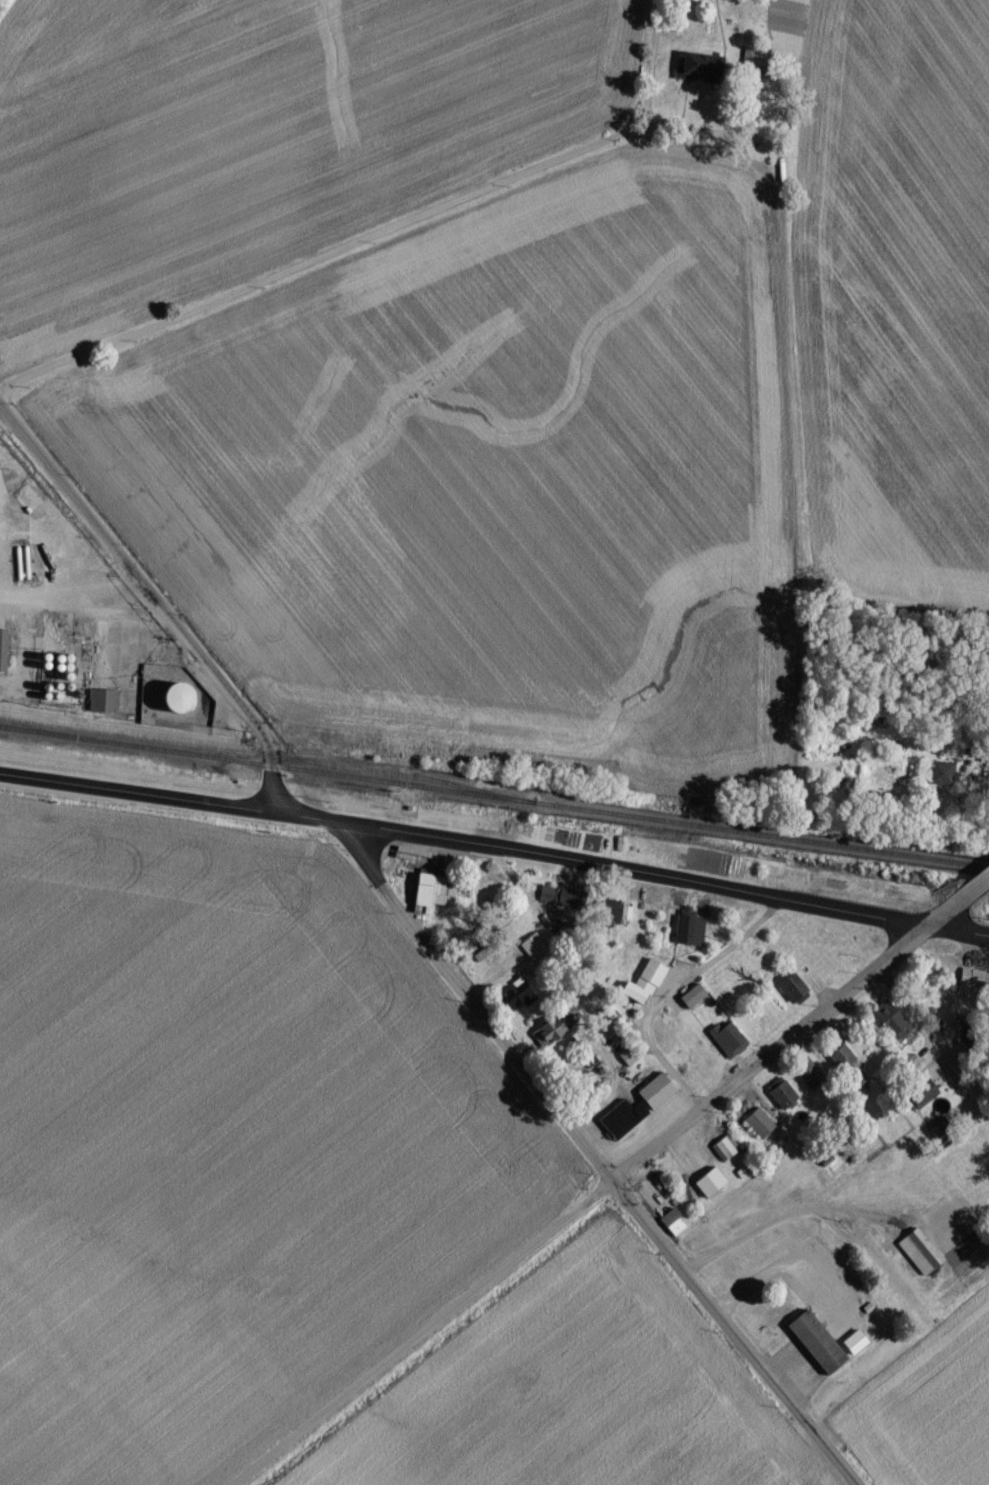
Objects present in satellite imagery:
road: (652, 68)
road: (740, 145)
building: (30, 504)
road: (68, 595)
road: (155, 610)
building: (4, 656)
railway: (494, 803)
road: (495, 854)
road: (973, 888)
building: (431, 897)
road: (939, 917)
building: (608, 920)
road: (743, 936)
building: (686, 937)
building: (973, 986)
building: (641, 990)
building: (789, 993)
road: (479, 1011)
building: (889, 1030)
building: (545, 1037)
road: (933, 1040)
building: (724, 1042)
road: (769, 1062)
building: (627, 1065)
building: (842, 1071)
building: (778, 1101)
building: (917, 1101)
building: (635, 1112)
building: (723, 1154)
road: (783, 1218)
building: (916, 1257)
road: (737, 1338)
road: (437, 1339)
building: (811, 1349)

